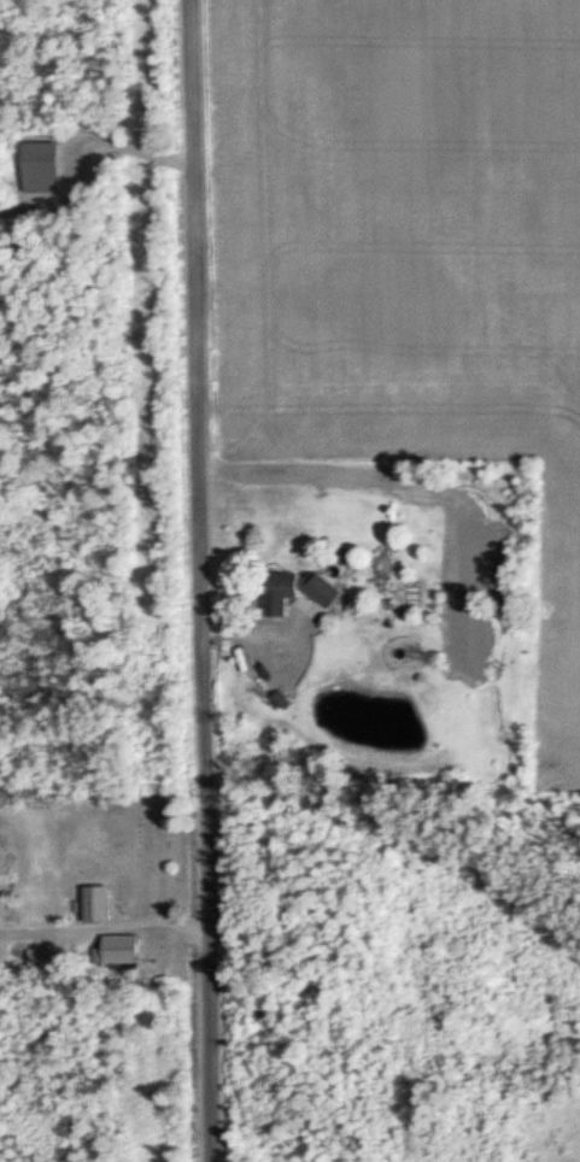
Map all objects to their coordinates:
building: (274, 577)
road: (198, 580)
building: (88, 903)
building: (110, 946)

